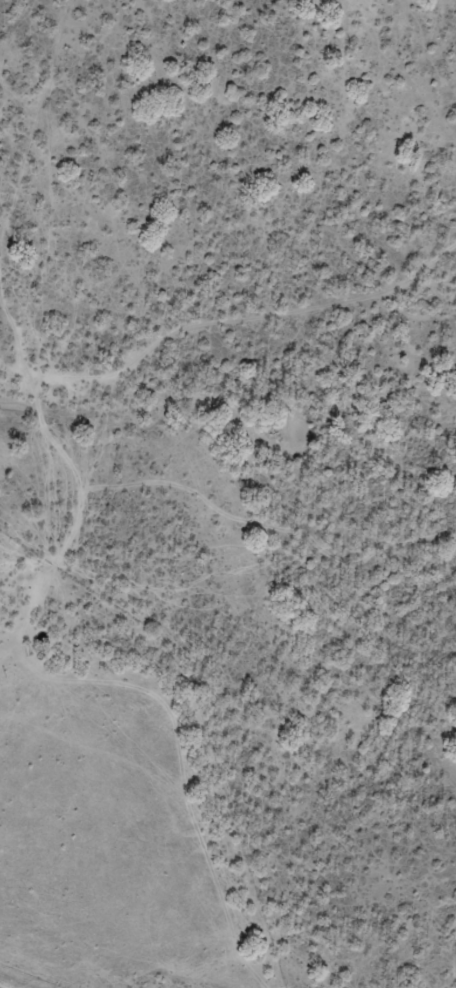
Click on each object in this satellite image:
road: (76, 505)

